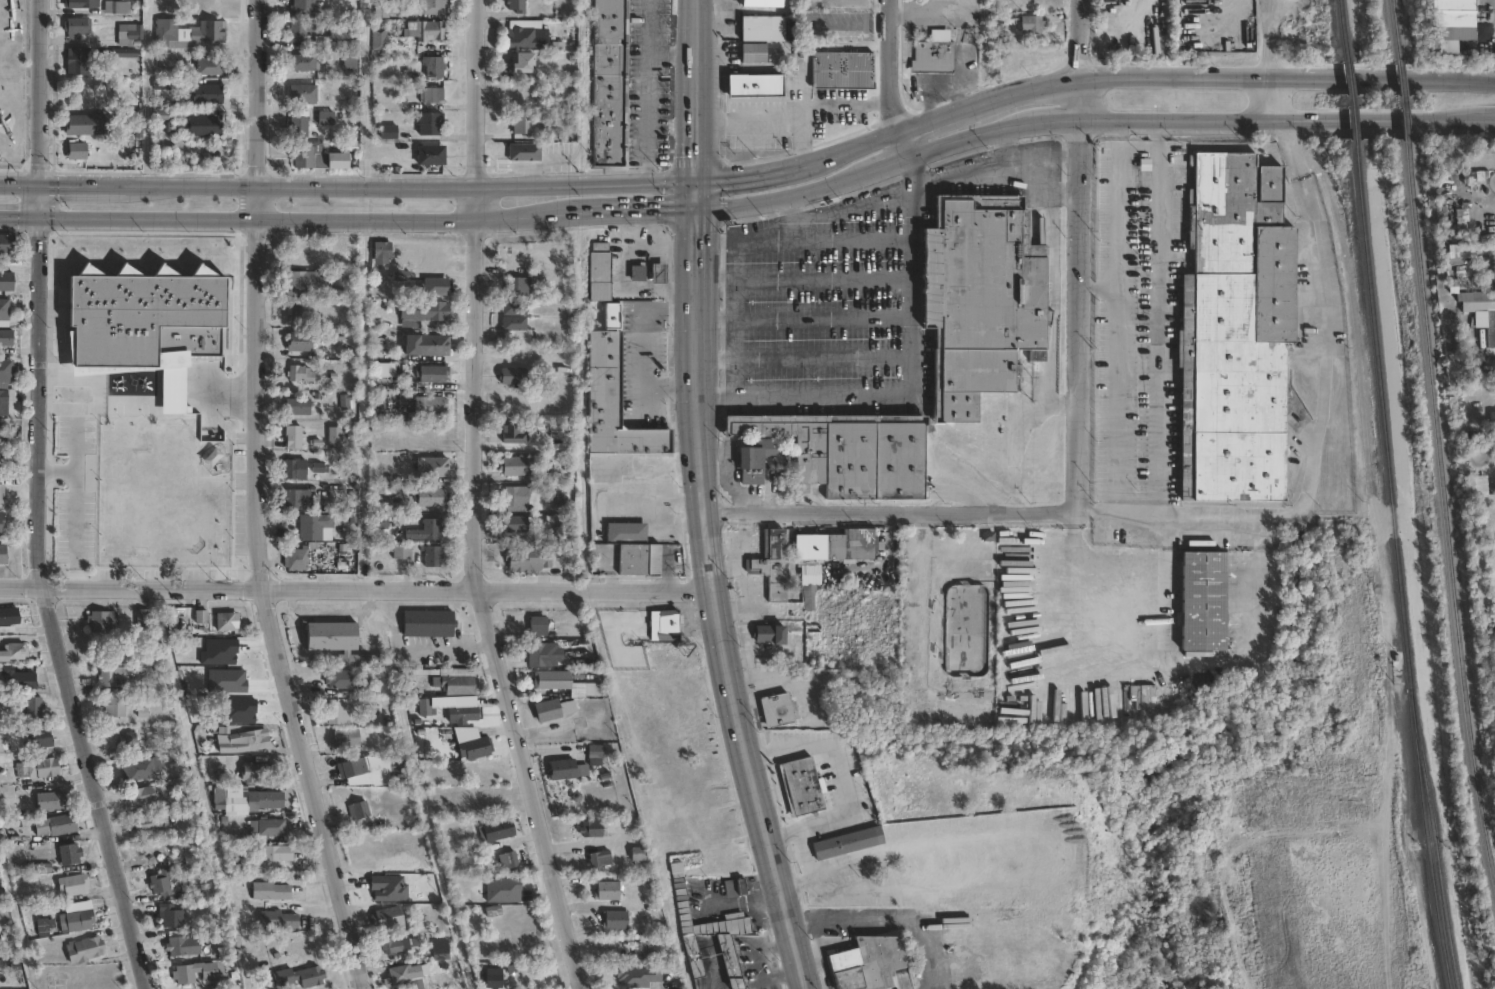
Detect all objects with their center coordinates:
building: (761, 2)
building: (80, 4)
building: (433, 6)
building: (517, 6)
building: (119, 7)
building: (302, 8)
building: (381, 9)
building: (1447, 20)
building: (1033, 23)
building: (76, 27)
building: (761, 27)
building: (297, 30)
building: (425, 30)
railway: (1340, 30)
railway: (1394, 30)
building: (343, 31)
building: (188, 33)
building: (528, 34)
building: (134, 37)
building: (379, 38)
road: (1080, 39)
building: (753, 51)
building: (124, 53)
building: (935, 54)
road: (674, 56)
building: (350, 60)
building: (78, 61)
building: (303, 62)
building: (525, 62)
road: (1270, 62)
building: (434, 66)
road: (890, 66)
building: (209, 67)
building: (842, 68)
road: (1288, 78)
building: (609, 83)
road: (1055, 83)
building: (754, 84)
road: (649, 91)
road: (698, 91)
road: (38, 92)
road: (365, 92)
road: (583, 92)
building: (208, 93)
building: (303, 93)
road: (256, 94)
building: (517, 94)
building: (431, 95)
road: (1081, 99)
railway: (1400, 101)
railway: (1347, 102)
road: (843, 106)
road: (959, 111)
building: (162, 114)
road: (772, 117)
building: (328, 119)
road: (1487, 120)
building: (136, 121)
road: (1053, 121)
building: (523, 122)
building: (431, 123)
building: (86, 124)
road: (1280, 124)
building: (298, 125)
building: (204, 126)
building: (389, 131)
road: (962, 137)
road: (858, 145)
road: (895, 147)
building: (76, 151)
building: (525, 153)
building: (432, 155)
building: (318, 157)
road: (880, 166)
road: (993, 167)
road: (906, 171)
road: (763, 175)
traffic signals: (697, 182)
traffic signals: (38, 185)
road: (348, 186)
road: (1063, 195)
road: (779, 198)
road: (37, 201)
road: (648, 209)
traffic signals: (697, 210)
road: (843, 210)
road: (18, 217)
traffic signals: (37, 217)
road: (319, 221)
building: (6, 248)
building: (382, 249)
building: (600, 272)
building: (400, 273)
building: (638, 273)
building: (660, 273)
building: (6, 282)
road: (731, 282)
building: (307, 283)
building: (431, 286)
building: (519, 286)
building: (983, 299)
building: (515, 307)
road: (1083, 310)
building: (296, 311)
building: (4, 312)
building: (423, 312)
road: (1051, 315)
building: (514, 323)
building: (1229, 326)
building: (1490, 332)
building: (6, 338)
building: (300, 341)
building: (191, 344)
building: (432, 345)
road: (647, 346)
building: (569, 371)
building: (7, 372)
building: (300, 374)
building: (434, 374)
building: (133, 376)
building: (512, 377)
building: (172, 382)
road: (909, 394)
road: (227, 395)
building: (6, 399)
building: (344, 401)
building: (615, 403)
building: (430, 406)
building: (298, 407)
building: (131, 420)
road: (1320, 421)
building: (1492, 428)
building: (169, 432)
building: (8, 435)
building: (514, 435)
building: (293, 436)
building: (335, 437)
road: (74, 445)
building: (131, 445)
building: (850, 452)
building: (757, 455)
road: (17, 458)
building: (516, 466)
building: (433, 467)
building: (646, 467)
building: (295, 469)
road: (17, 479)
building: (2, 493)
building: (432, 497)
building: (517, 498)
building: (297, 499)
road: (475, 501)
road: (1096, 501)
road: (1136, 501)
railway: (1449, 502)
building: (382, 505)
road: (74, 509)
road: (898, 516)
building: (380, 522)
building: (156, 524)
building: (516, 524)
road: (362, 526)
building: (1, 527)
building: (315, 527)
building: (426, 531)
building: (627, 531)
building: (837, 546)
building: (402, 553)
building: (3, 555)
building: (432, 556)
building: (524, 559)
building: (295, 560)
building: (641, 560)
building: (773, 565)
railway: (1396, 567)
road: (356, 589)
road: (713, 590)
building: (809, 592)
road: (261, 594)
building: (1197, 600)
road: (46, 609)
building: (8, 617)
building: (142, 620)
building: (102, 622)
building: (225, 622)
building: (429, 624)
building: (539, 626)
building: (666, 626)
building: (771, 635)
road: (1130, 635)
building: (338, 642)
building: (14, 653)
building: (538, 654)
road: (1225, 660)
building: (111, 676)
building: (18, 679)
building: (346, 680)
building: (552, 681)
building: (459, 686)
building: (595, 690)
building: (31, 706)
building: (115, 707)
building: (427, 707)
building: (554, 710)
building: (338, 711)
building: (779, 711)
building: (466, 714)
building: (39, 738)
building: (242, 739)
building: (346, 739)
building: (126, 740)
building: (475, 748)
building: (598, 752)
building: (37, 767)
building: (143, 769)
building: (354, 769)
building: (563, 770)
building: (252, 771)
road: (841, 778)
building: (804, 786)
building: (142, 796)
building: (50, 799)
building: (245, 800)
building: (359, 811)
building: (56, 824)
building: (147, 825)
building: (268, 826)
building: (592, 827)
building: (499, 828)
building: (845, 843)
railway: (1437, 844)
building: (69, 853)
building: (639, 853)
building: (273, 857)
building: (508, 857)
building: (601, 858)
building: (160, 880)
building: (72, 883)
building: (729, 889)
building: (271, 890)
building: (608, 890)
building: (493, 908)
building: (170, 915)
building: (389, 917)
building: (278, 919)
building: (617, 919)
building: (76, 921)
road: (885, 923)
building: (45, 926)
building: (712, 933)
building: (397, 943)
building: (183, 945)
building: (84, 949)
building: (440, 949)
building: (641, 949)
road: (810, 953)
road: (823, 956)
building: (871, 962)
building: (404, 973)
building: (183, 974)
building: (638, 975)
building: (299, 976)
building: (495, 977)

